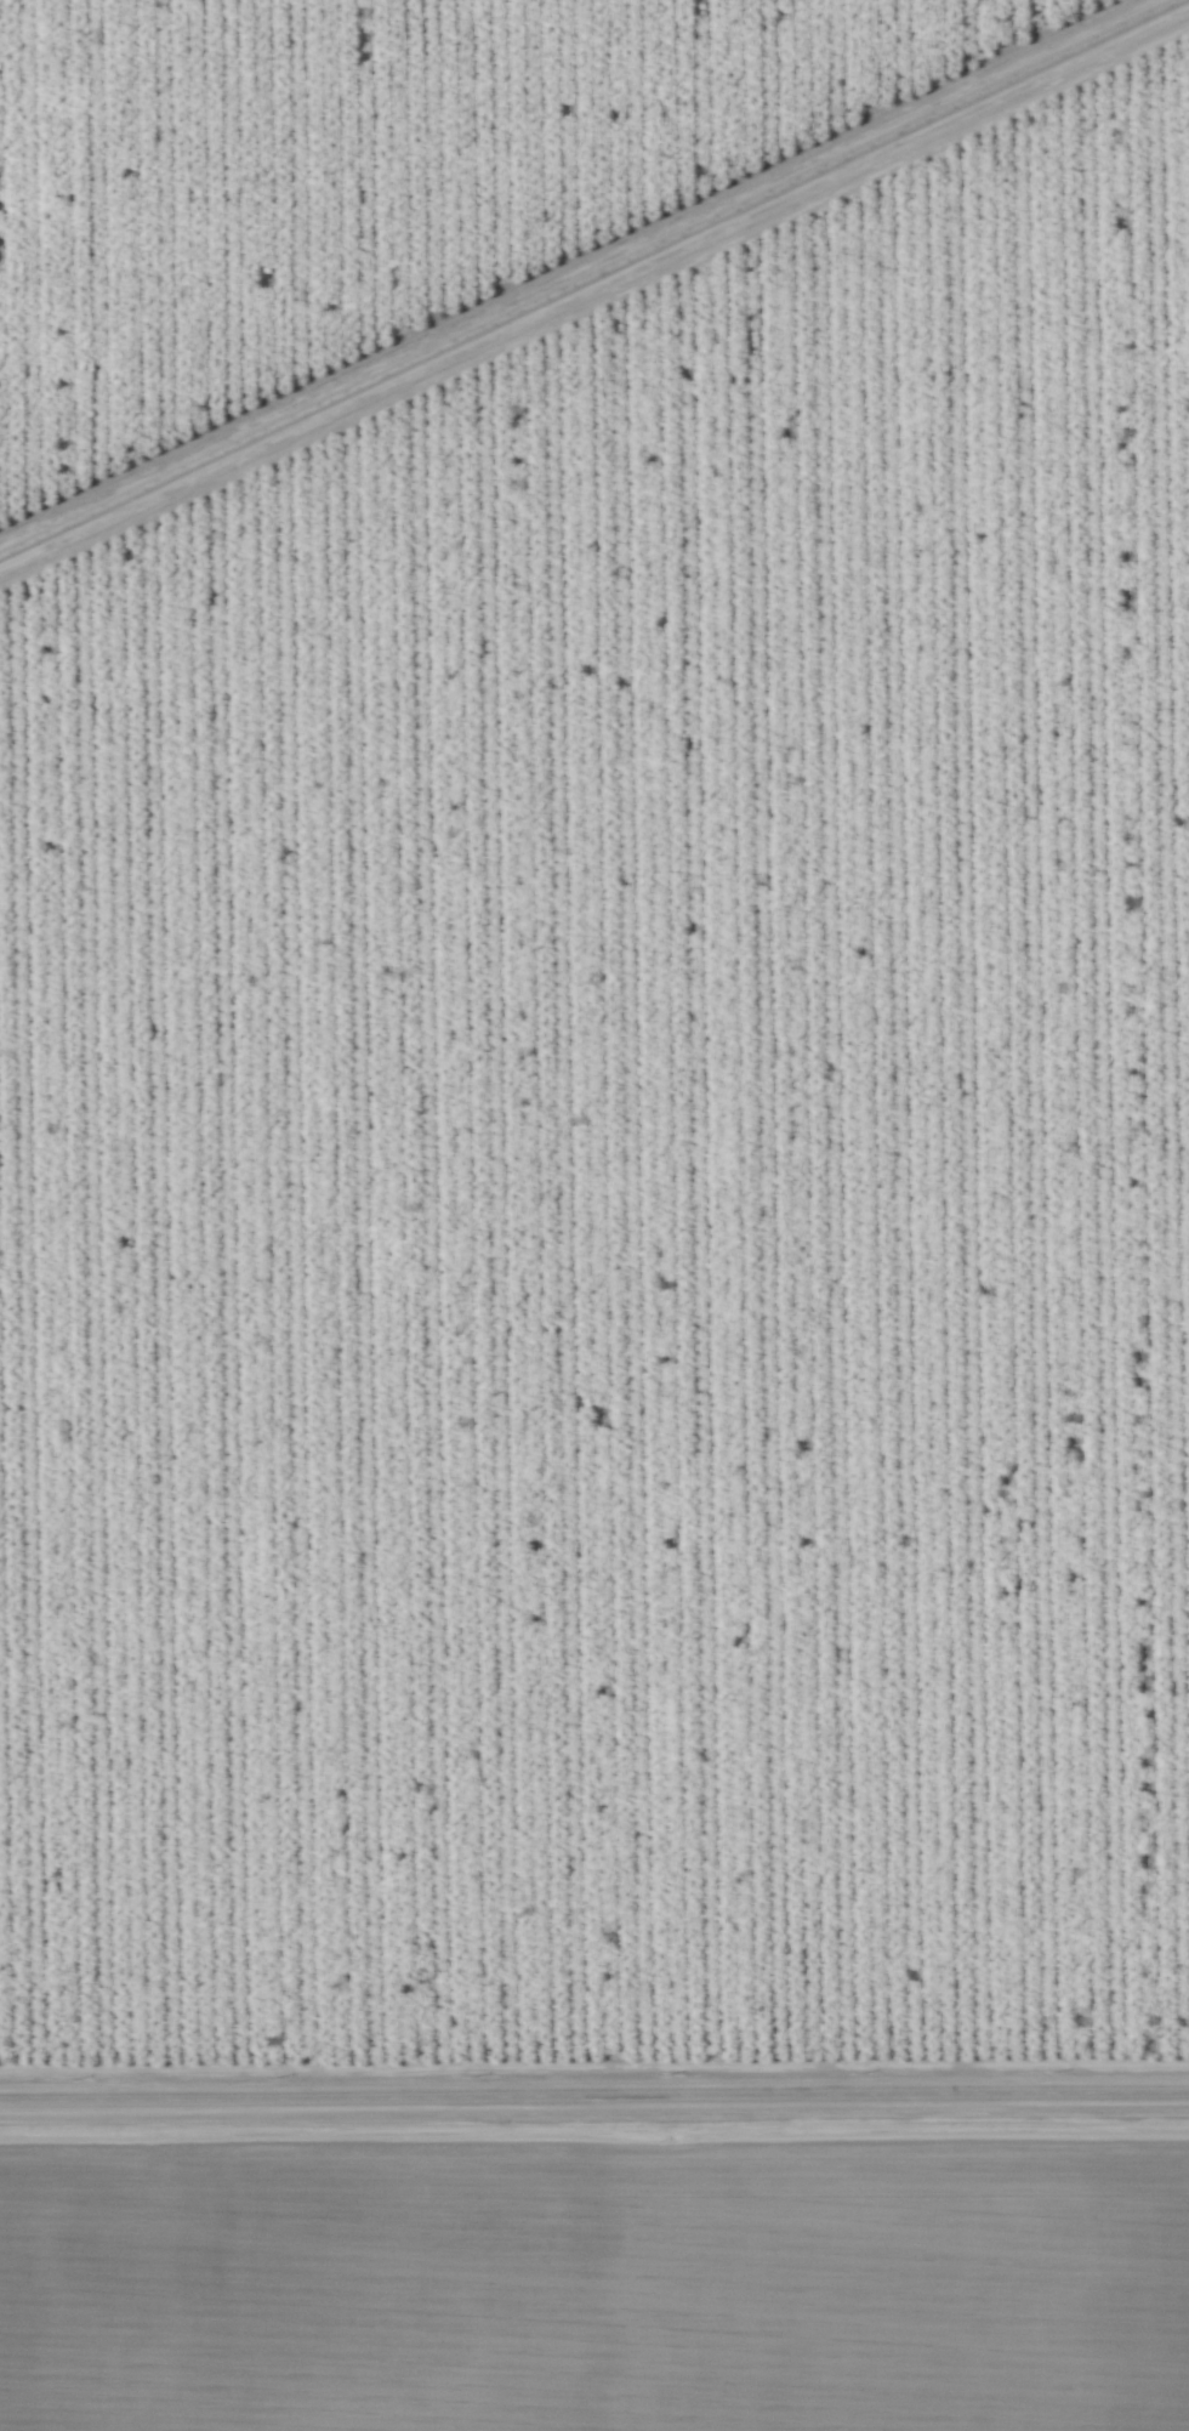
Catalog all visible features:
railway: (588, 277)
road: (594, 2094)
crop: (596, 2271)

